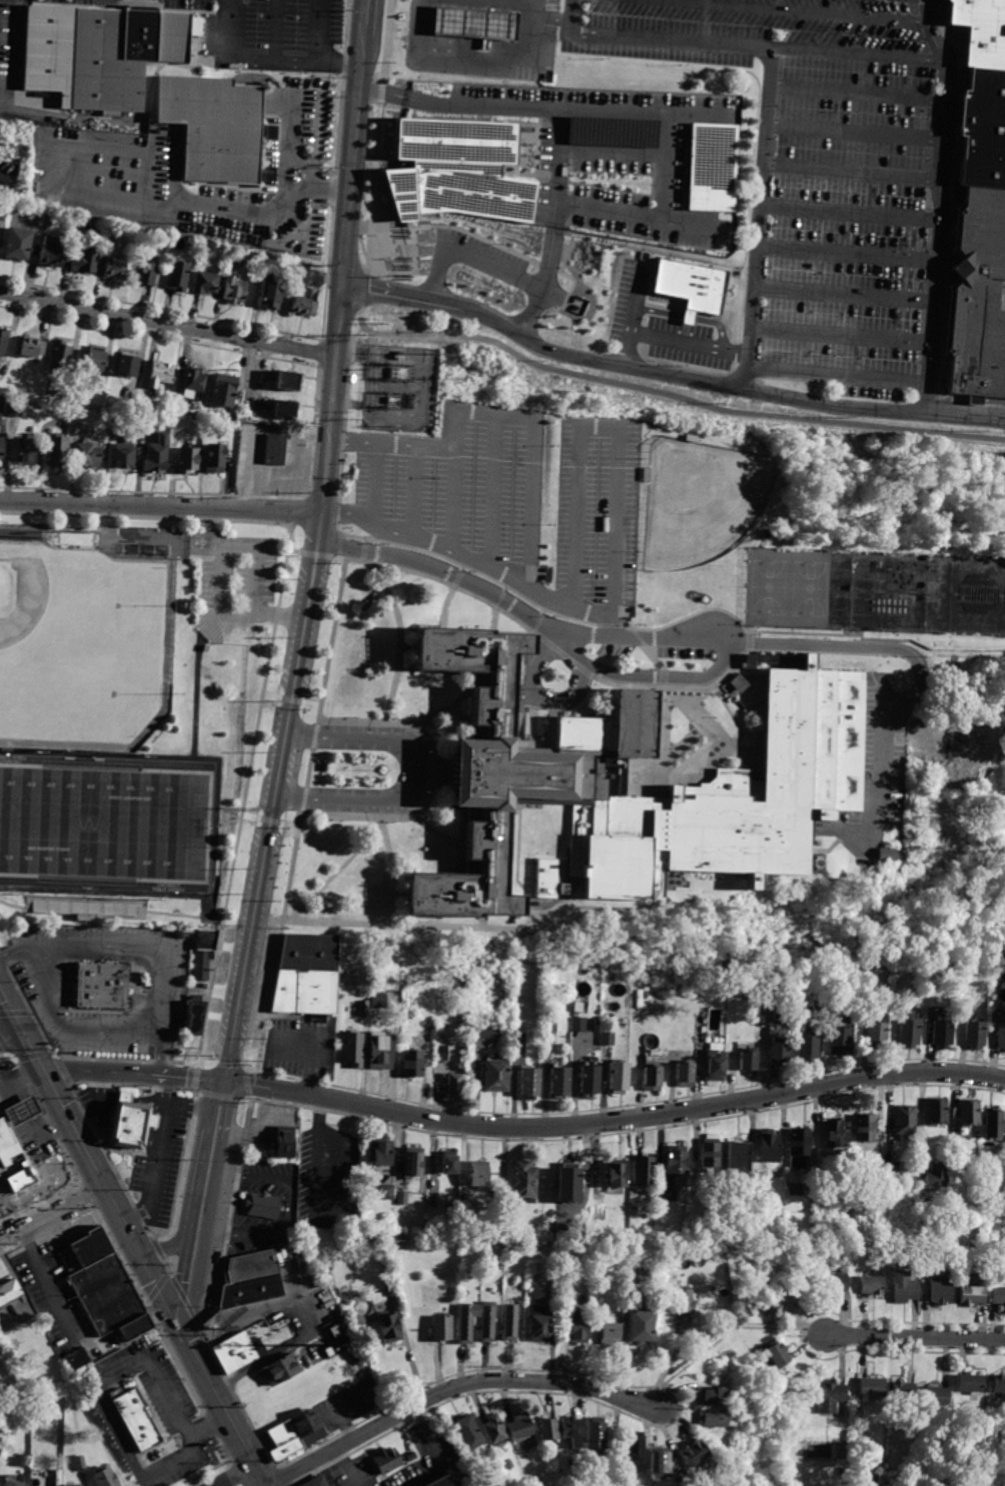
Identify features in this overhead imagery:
road: (812, 9)
road: (364, 10)
building: (482, 21)
gas station: (482, 21)
road: (363, 27)
road: (275, 30)
road: (317, 31)
building: (981, 31)
road: (739, 42)
building: (100, 51)
road: (15, 57)
road: (267, 60)
road: (481, 60)
road: (857, 88)
road: (383, 93)
road: (483, 108)
road: (4, 110)
road: (645, 114)
road: (74, 119)
building: (220, 128)
building: (982, 128)
road: (854, 130)
building: (611, 131)
road: (293, 141)
road: (317, 141)
road: (613, 154)
road: (45, 156)
road: (351, 159)
road: (89, 165)
building: (711, 166)
road: (665, 167)
road: (170, 168)
road: (851, 169)
road: (126, 171)
road: (560, 171)
building: (462, 173)
parking lot: (814, 175)
road: (174, 201)
road: (938, 204)
building: (4, 210)
road: (847, 211)
road: (635, 214)
road: (755, 217)
building: (48, 221)
building: (99, 225)
building: (112, 233)
building: (20, 245)
building: (144, 247)
road: (845, 249)
building: (54, 252)
road: (473, 260)
building: (87, 263)
building: (118, 270)
building: (147, 273)
building: (317, 276)
flagpole: (399, 276)
flagpole: (407, 276)
building: (180, 277)
flagpole: (390, 277)
building: (207, 284)
road: (737, 284)
road: (546, 286)
road: (364, 290)
building: (236, 292)
road: (396, 293)
building: (977, 293)
building: (273, 296)
building: (306, 308)
road: (167, 325)
road: (781, 328)
building: (4, 342)
building: (33, 348)
building: (61, 357)
building: (97, 360)
building: (131, 368)
road: (835, 373)
building: (163, 375)
building: (290, 382)
road: (721, 386)
building: (195, 387)
power substation: (400, 391)
building: (226, 392)
road: (671, 395)
road: (332, 398)
road: (972, 399)
building: (16, 410)
building: (287, 411)
road: (505, 415)
building: (112, 422)
road: (603, 427)
road: (391, 445)
building: (2, 447)
building: (276, 450)
building: (59, 453)
building: (28, 454)
building: (87, 457)
building: (126, 457)
building: (158, 457)
building: (216, 460)
building: (189, 461)
road: (373, 482)
parking lot: (461, 487)
road: (491, 489)
road: (413, 490)
road: (161, 507)
parking lot: (597, 513)
park: (691, 514)
building: (23, 532)
road: (468, 555)
road: (444, 571)
road: (225, 577)
park: (769, 587)
park: (811, 589)
road: (446, 601)
road: (493, 612)
road: (544, 612)
road: (571, 618)
road: (539, 623)
road: (611, 626)
road: (613, 627)
road: (763, 632)
road: (751, 634)
road: (401, 642)
road: (750, 644)
stadium: (82, 645)
road: (569, 645)
road: (409, 648)
road: (840, 648)
park: (80, 649)
road: (564, 654)
road: (956, 654)
road: (652, 655)
road: (747, 676)
road: (664, 677)
road: (664, 678)
road: (198, 679)
road: (677, 688)
building: (733, 689)
flagpole: (720, 694)
road: (543, 700)
road: (436, 715)
road: (463, 715)
road: (733, 717)
road: (720, 736)
road: (750, 743)
road: (435, 772)
building: (541, 778)
road: (416, 779)
road: (678, 786)
road: (275, 797)
road: (526, 809)
park: (102, 823)
park: (106, 824)
road: (218, 825)
road: (426, 825)
road: (451, 842)
building: (888, 856)
road: (518, 869)
road: (335, 873)
building: (548, 879)
road: (400, 896)
road: (118, 901)
building: (88, 909)
road: (379, 926)
road: (492, 928)
road: (20, 948)
road: (144, 948)
building: (205, 953)
road: (137, 959)
building: (307, 975)
building: (104, 987)
building: (661, 992)
building: (648, 996)
building: (641, 999)
building: (381, 1001)
building: (821, 1006)
building: (364, 1009)
building: (580, 1009)
building: (946, 1012)
building: (375, 1014)
road: (10, 1015)
building: (828, 1015)
building: (195, 1016)
building: (781, 1019)
building: (550, 1025)
building: (580, 1025)
road: (68, 1028)
building: (432, 1030)
building: (489, 1031)
traffic signals: (21, 1034)
building: (879, 1034)
building: (943, 1035)
road: (10, 1036)
building: (910, 1036)
building: (976, 1036)
building: (1002, 1038)
building: (609, 1040)
building: (842, 1041)
building: (521, 1042)
building: (810, 1048)
building: (355, 1051)
road: (31, 1052)
building: (382, 1052)
building: (780, 1053)
road: (163, 1054)
building: (443, 1054)
road: (206, 1064)
building: (749, 1064)
building: (416, 1065)
road: (229, 1066)
road: (199, 1067)
traffic signals: (41, 1070)
building: (718, 1070)
road: (248, 1071)
road: (97, 1073)
road: (20, 1076)
building: (686, 1076)
building: (497, 1078)
road: (189, 1079)
building: (620, 1079)
road: (197, 1080)
building: (653, 1081)
traffic signals: (225, 1082)
building: (562, 1083)
building: (591, 1083)
road: (249, 1085)
building: (532, 1085)
building: (454, 1090)
road: (96, 1091)
road: (153, 1096)
road: (219, 1096)
road: (251, 1099)
road: (193, 1104)
road: (624, 1106)
road: (25, 1107)
road: (220, 1107)
building: (20, 1109)
gas station: (20, 1109)
building: (936, 1111)
building: (967, 1112)
road: (615, 1120)
building: (905, 1120)
building: (131, 1123)
building: (993, 1124)
building: (864, 1127)
road: (624, 1133)
building: (837, 1133)
road: (43, 1141)
building: (283, 1142)
building: (7, 1144)
building: (768, 1146)
building: (799, 1147)
building: (383, 1153)
building: (955, 1153)
building: (709, 1154)
building: (736, 1155)
road: (157, 1156)
building: (873, 1161)
building: (413, 1162)
building: (448, 1162)
building: (675, 1162)
building: (890, 1169)
building: (644, 1170)
building: (615, 1172)
building: (478, 1174)
building: (934, 1175)
building: (523, 1183)
road: (205, 1185)
building: (569, 1185)
building: (386, 1192)
road: (106, 1194)
building: (402, 1198)
building: (434, 1198)
road: (10, 1206)
building: (266, 1207)
road: (290, 1209)
road: (50, 1213)
building: (509, 1224)
building: (567, 1229)
building: (495, 1241)
building: (396, 1242)
road: (164, 1246)
building: (750, 1256)
building: (638, 1275)
building: (568, 1277)
road: (189, 1279)
building: (252, 1279)
building: (835, 1281)
road: (49, 1285)
building: (872, 1285)
building: (107, 1286)
building: (904, 1287)
building: (8, 1290)
building: (390, 1290)
building: (536, 1291)
building: (938, 1293)
building: (971, 1295)
building: (998, 1295)
building: (783, 1300)
building: (683, 1302)
traffic signals: (175, 1318)
building: (488, 1321)
building: (468, 1322)
building: (510, 1322)
building: (538, 1324)
building: (578, 1325)
building: (389, 1327)
building: (443, 1328)
building: (641, 1328)
building: (335, 1332)
building: (609, 1333)
road: (310, 1335)
road: (727, 1335)
road: (802, 1335)
road: (915, 1337)
building: (236, 1348)
building: (328, 1352)
building: (772, 1355)
building: (77, 1359)
building: (281, 1369)
building: (969, 1383)
building: (998, 1384)
road: (455, 1387)
building: (871, 1387)
building: (902, 1390)
building: (709, 1395)
building: (937, 1396)
building: (830, 1398)
road: (102, 1399)
road: (219, 1402)
building: (790, 1409)
building: (714, 1419)
building: (137, 1421)
road: (207, 1426)
building: (520, 1427)
building: (293, 1429)
building: (495, 1429)
building: (549, 1429)
building: (573, 1431)
building: (467, 1432)
building: (596, 1433)
road: (437, 1446)
building: (634, 1447)
building: (692, 1453)
building: (411, 1456)
building: (386, 1460)
building: (79, 1462)
building: (661, 1462)
road: (348, 1467)
building: (843, 1471)
road: (422, 1474)
road: (235, 1476)
building: (105, 1478)
building: (433, 1479)
building: (314, 1480)
building: (683, 1480)
building: (12, 1484)
building: (67, 1485)

